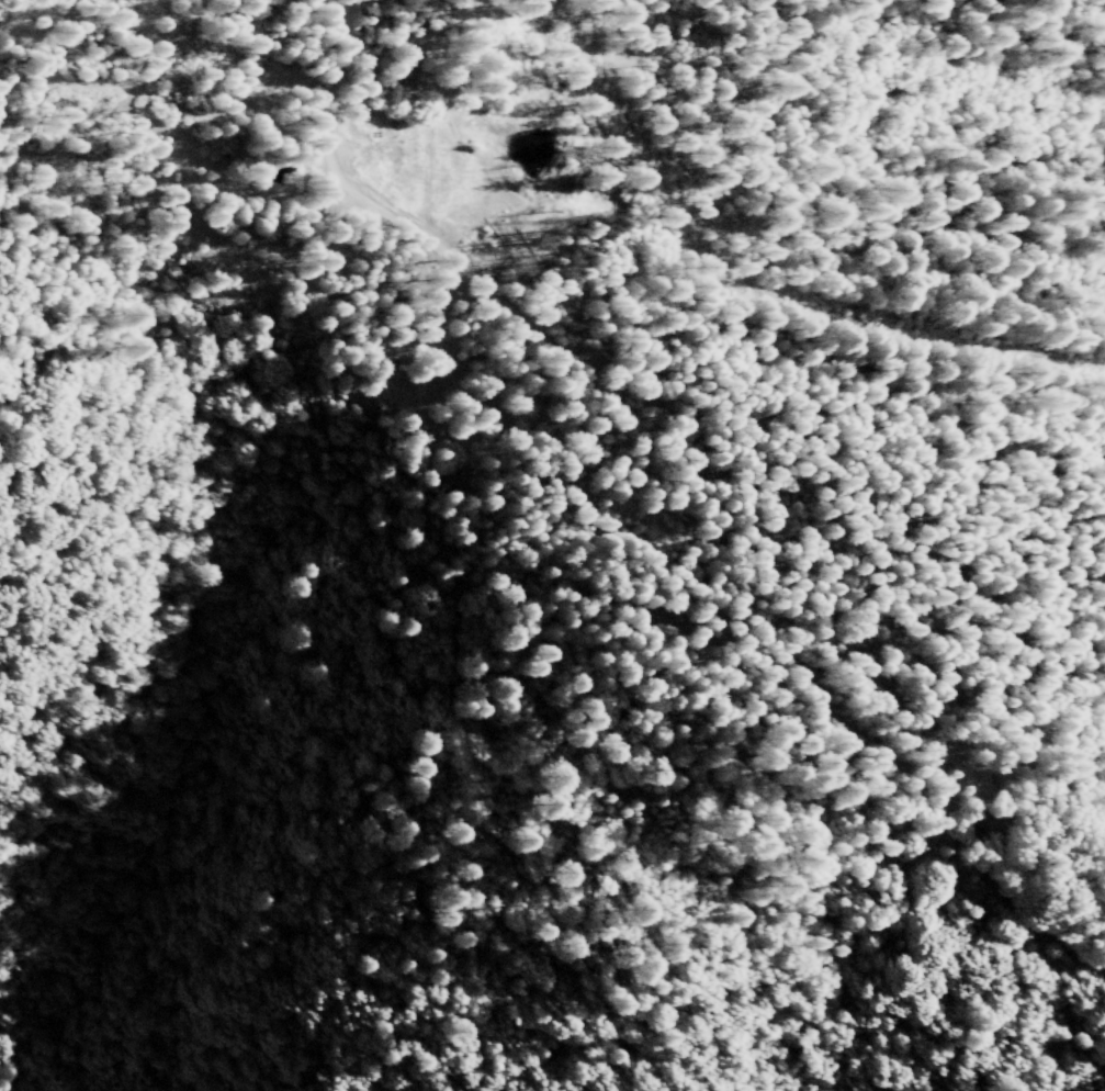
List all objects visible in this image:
road: (32, 87)
road: (109, 412)
park: (556, 447)
road: (673, 517)

